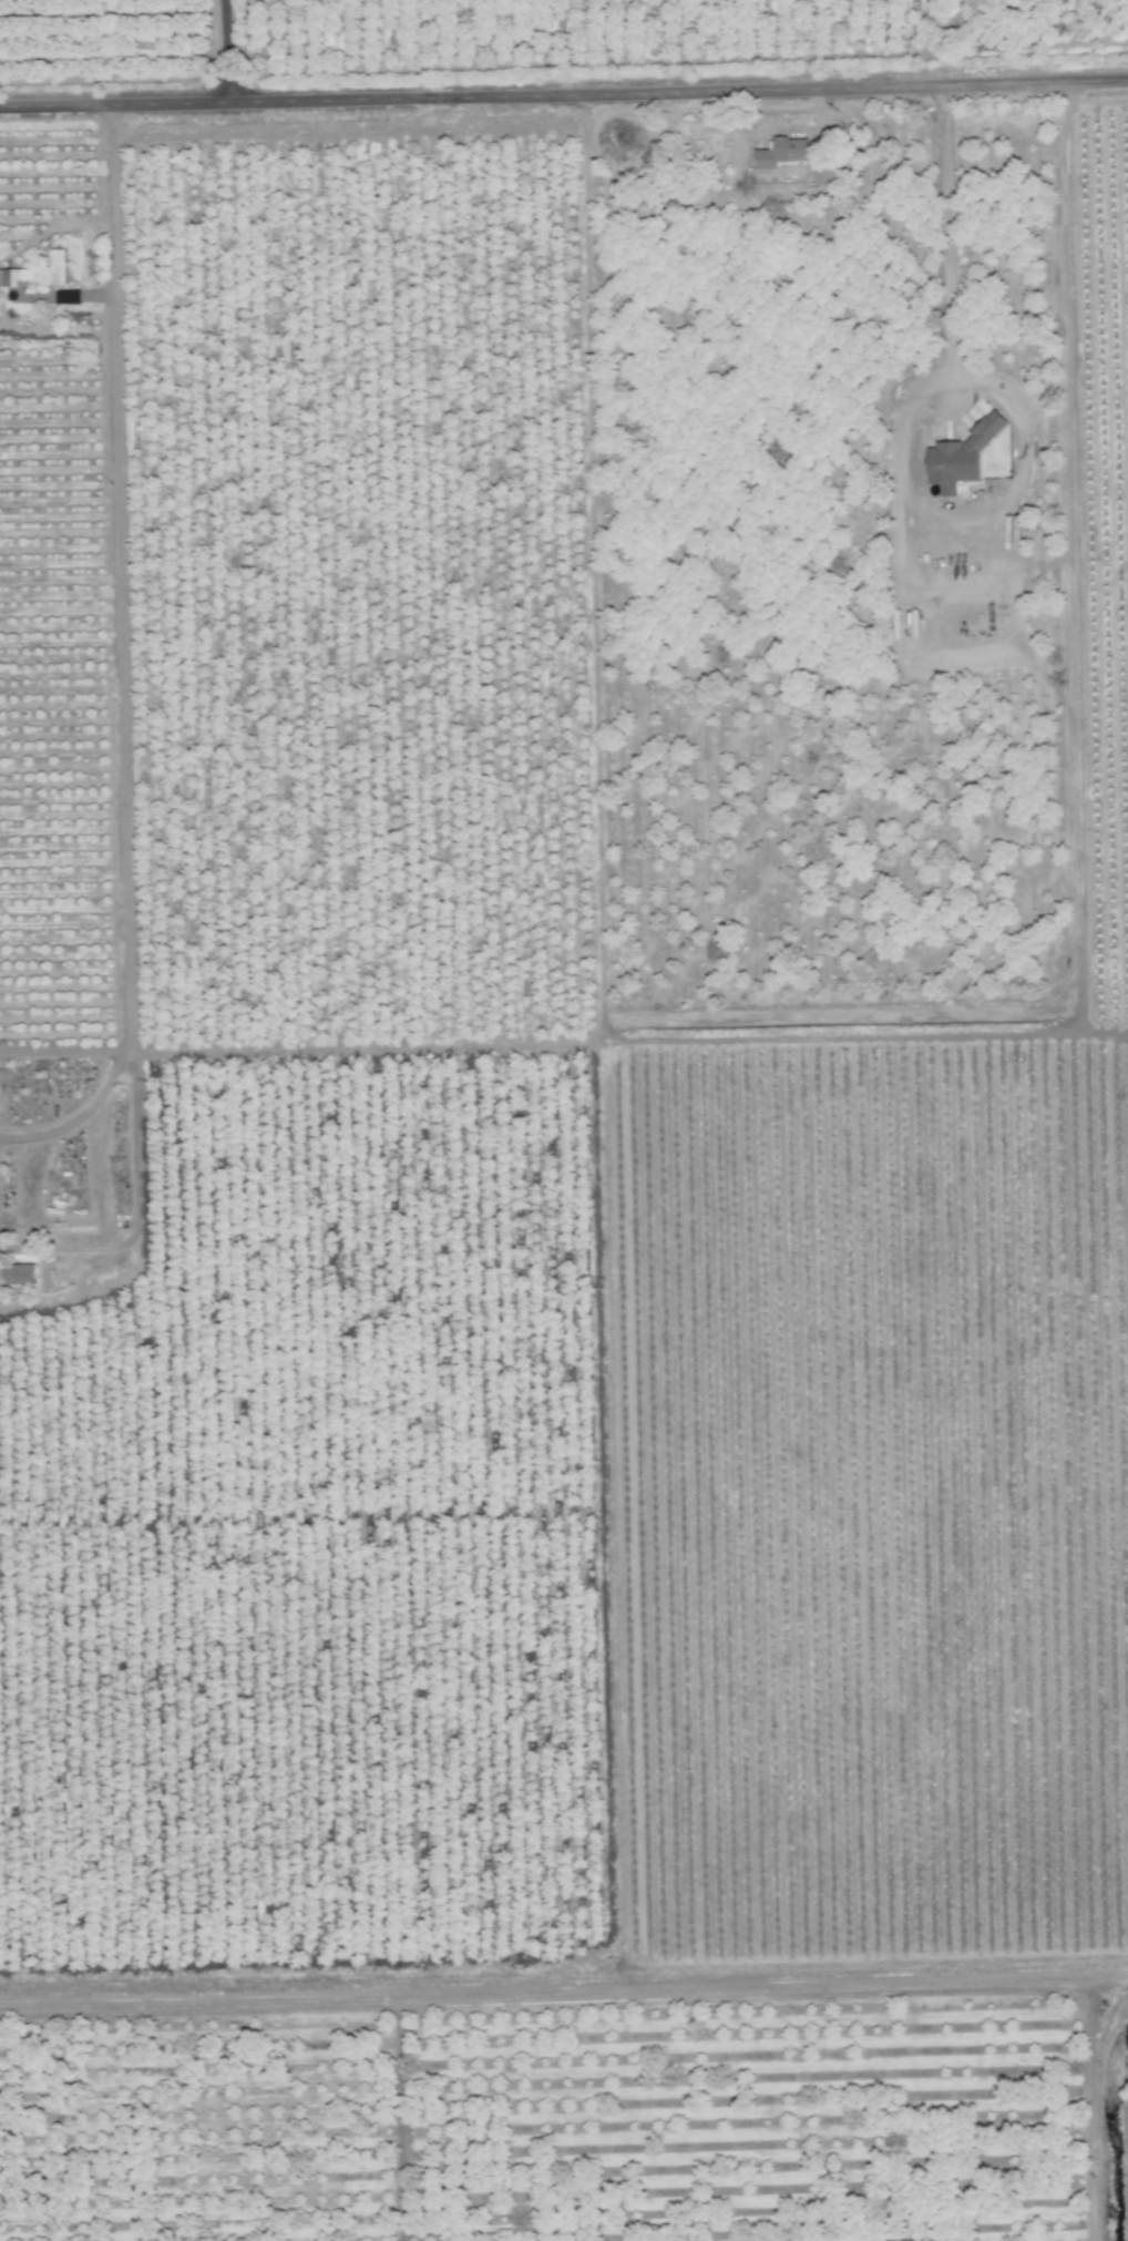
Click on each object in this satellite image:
road: (221, 50)
road: (564, 92)
building: (818, 174)
road: (939, 231)
building: (59, 266)
building: (17, 276)
road: (125, 673)
building: (22, 1273)

